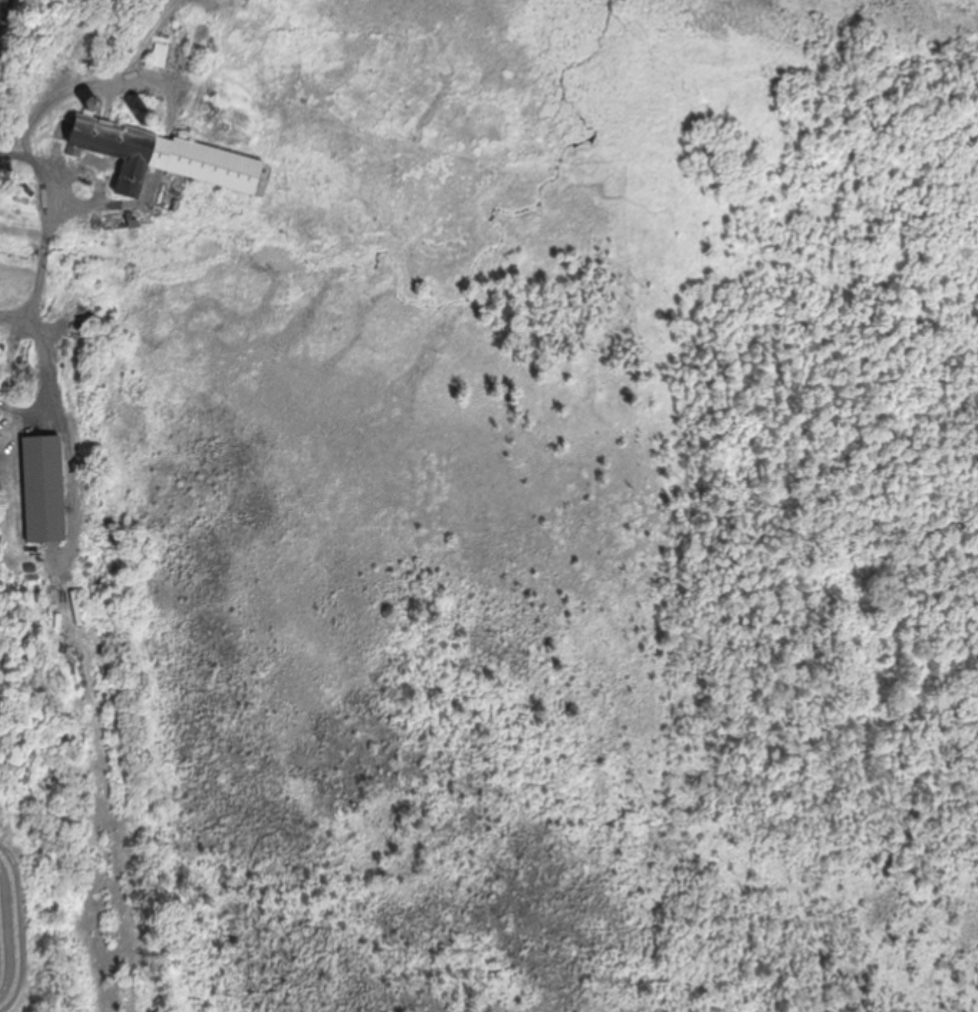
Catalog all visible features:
road: (0, 0)
building: (159, 57)
building: (182, 61)
building: (160, 158)
building: (124, 221)
building: (42, 490)

